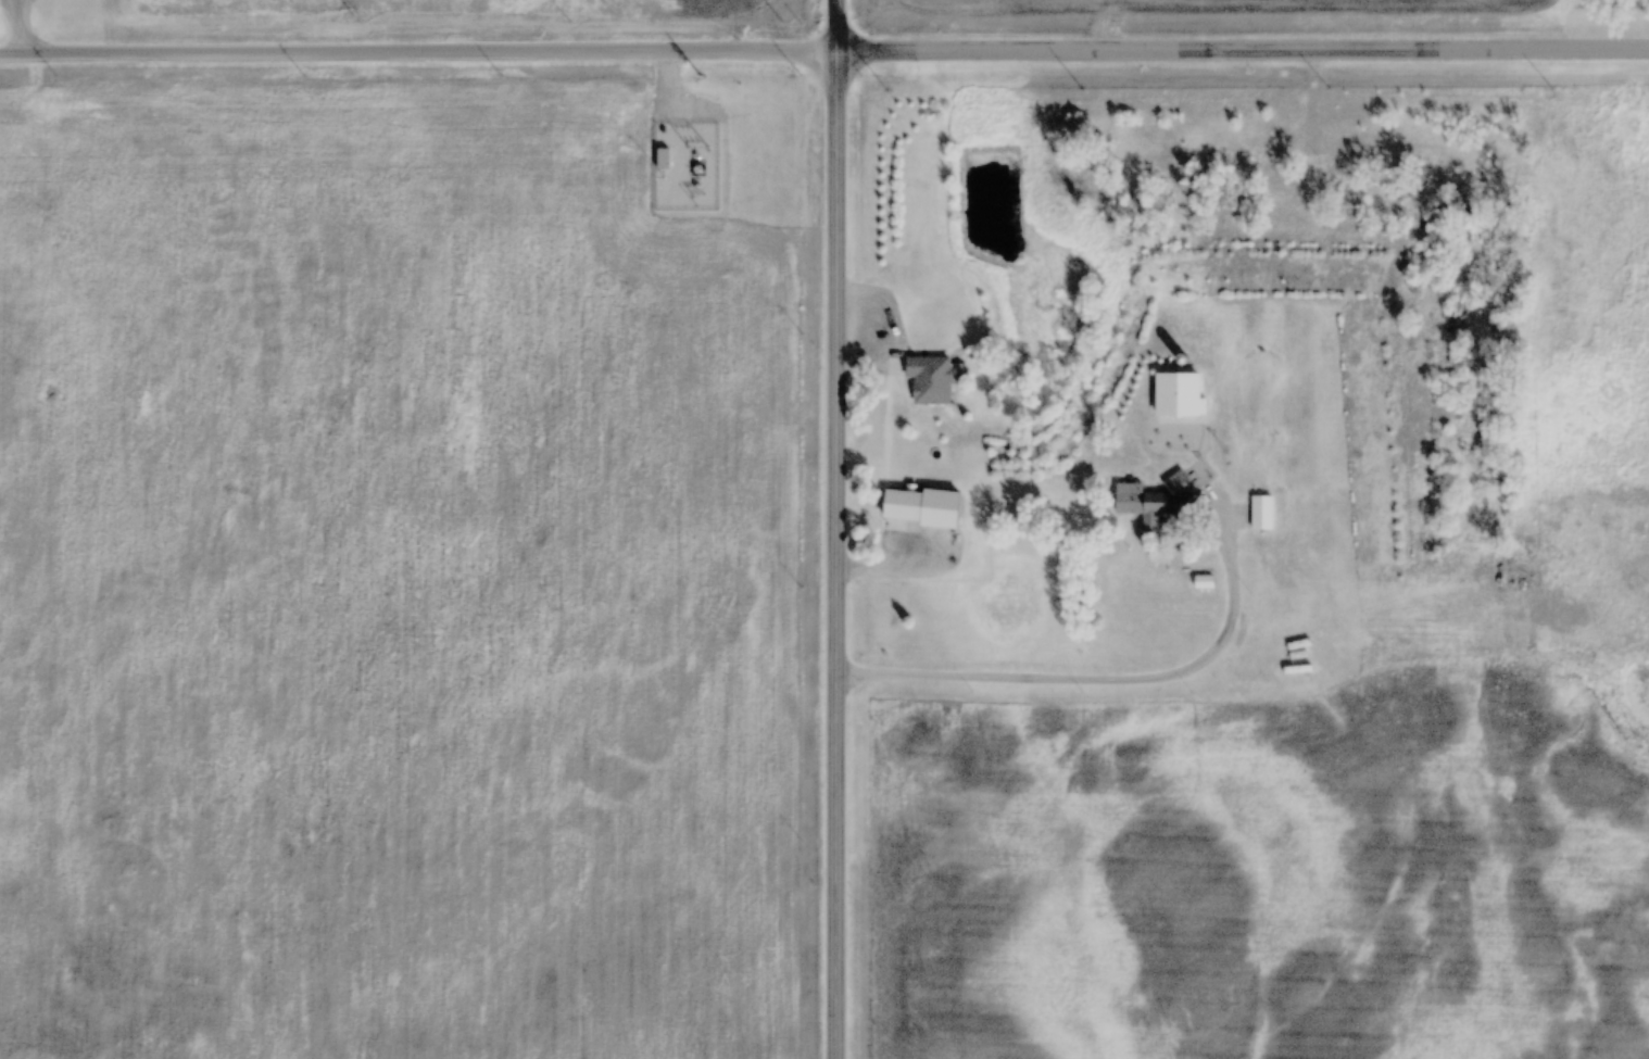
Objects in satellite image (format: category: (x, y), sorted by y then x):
road: (824, 54)
building: (931, 378)
building: (1181, 393)
building: (1151, 496)
building: (903, 504)
building: (1261, 513)
road: (841, 529)

